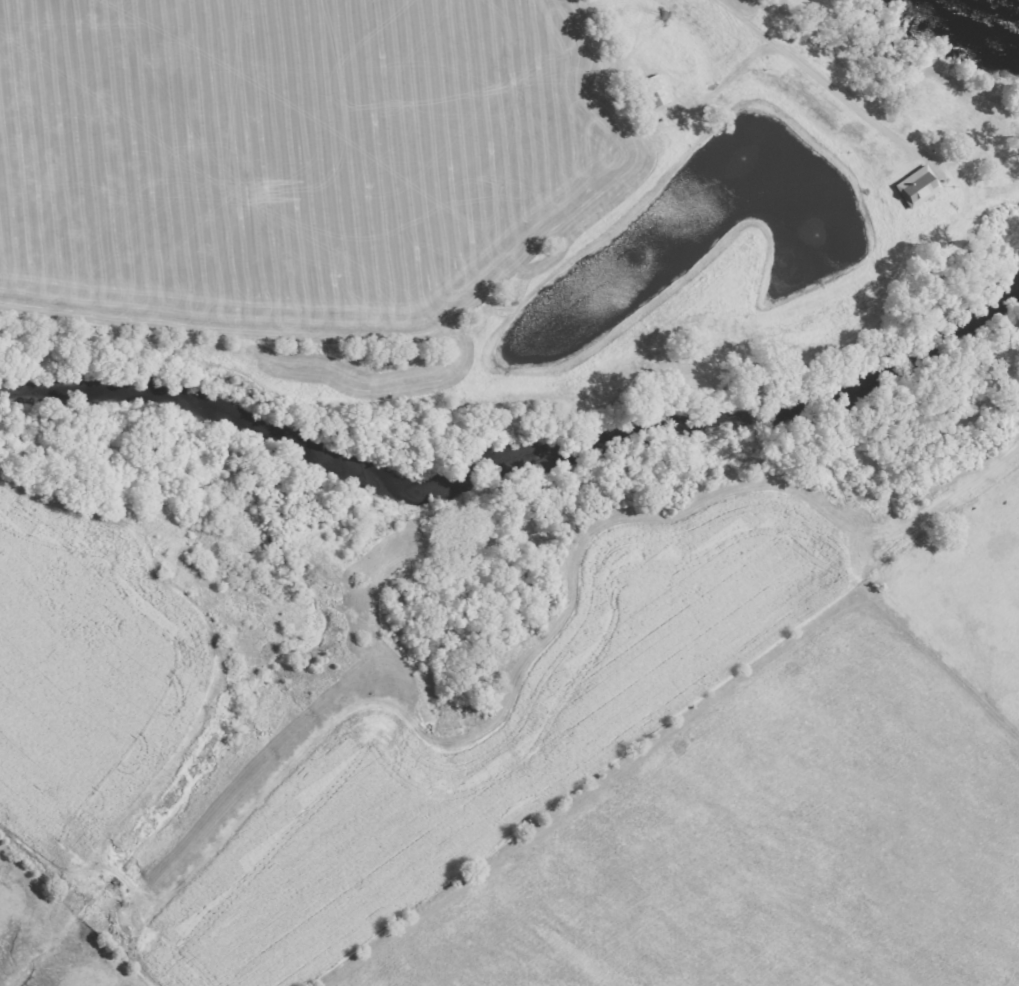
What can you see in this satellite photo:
building: (651, 91)
building: (915, 187)

